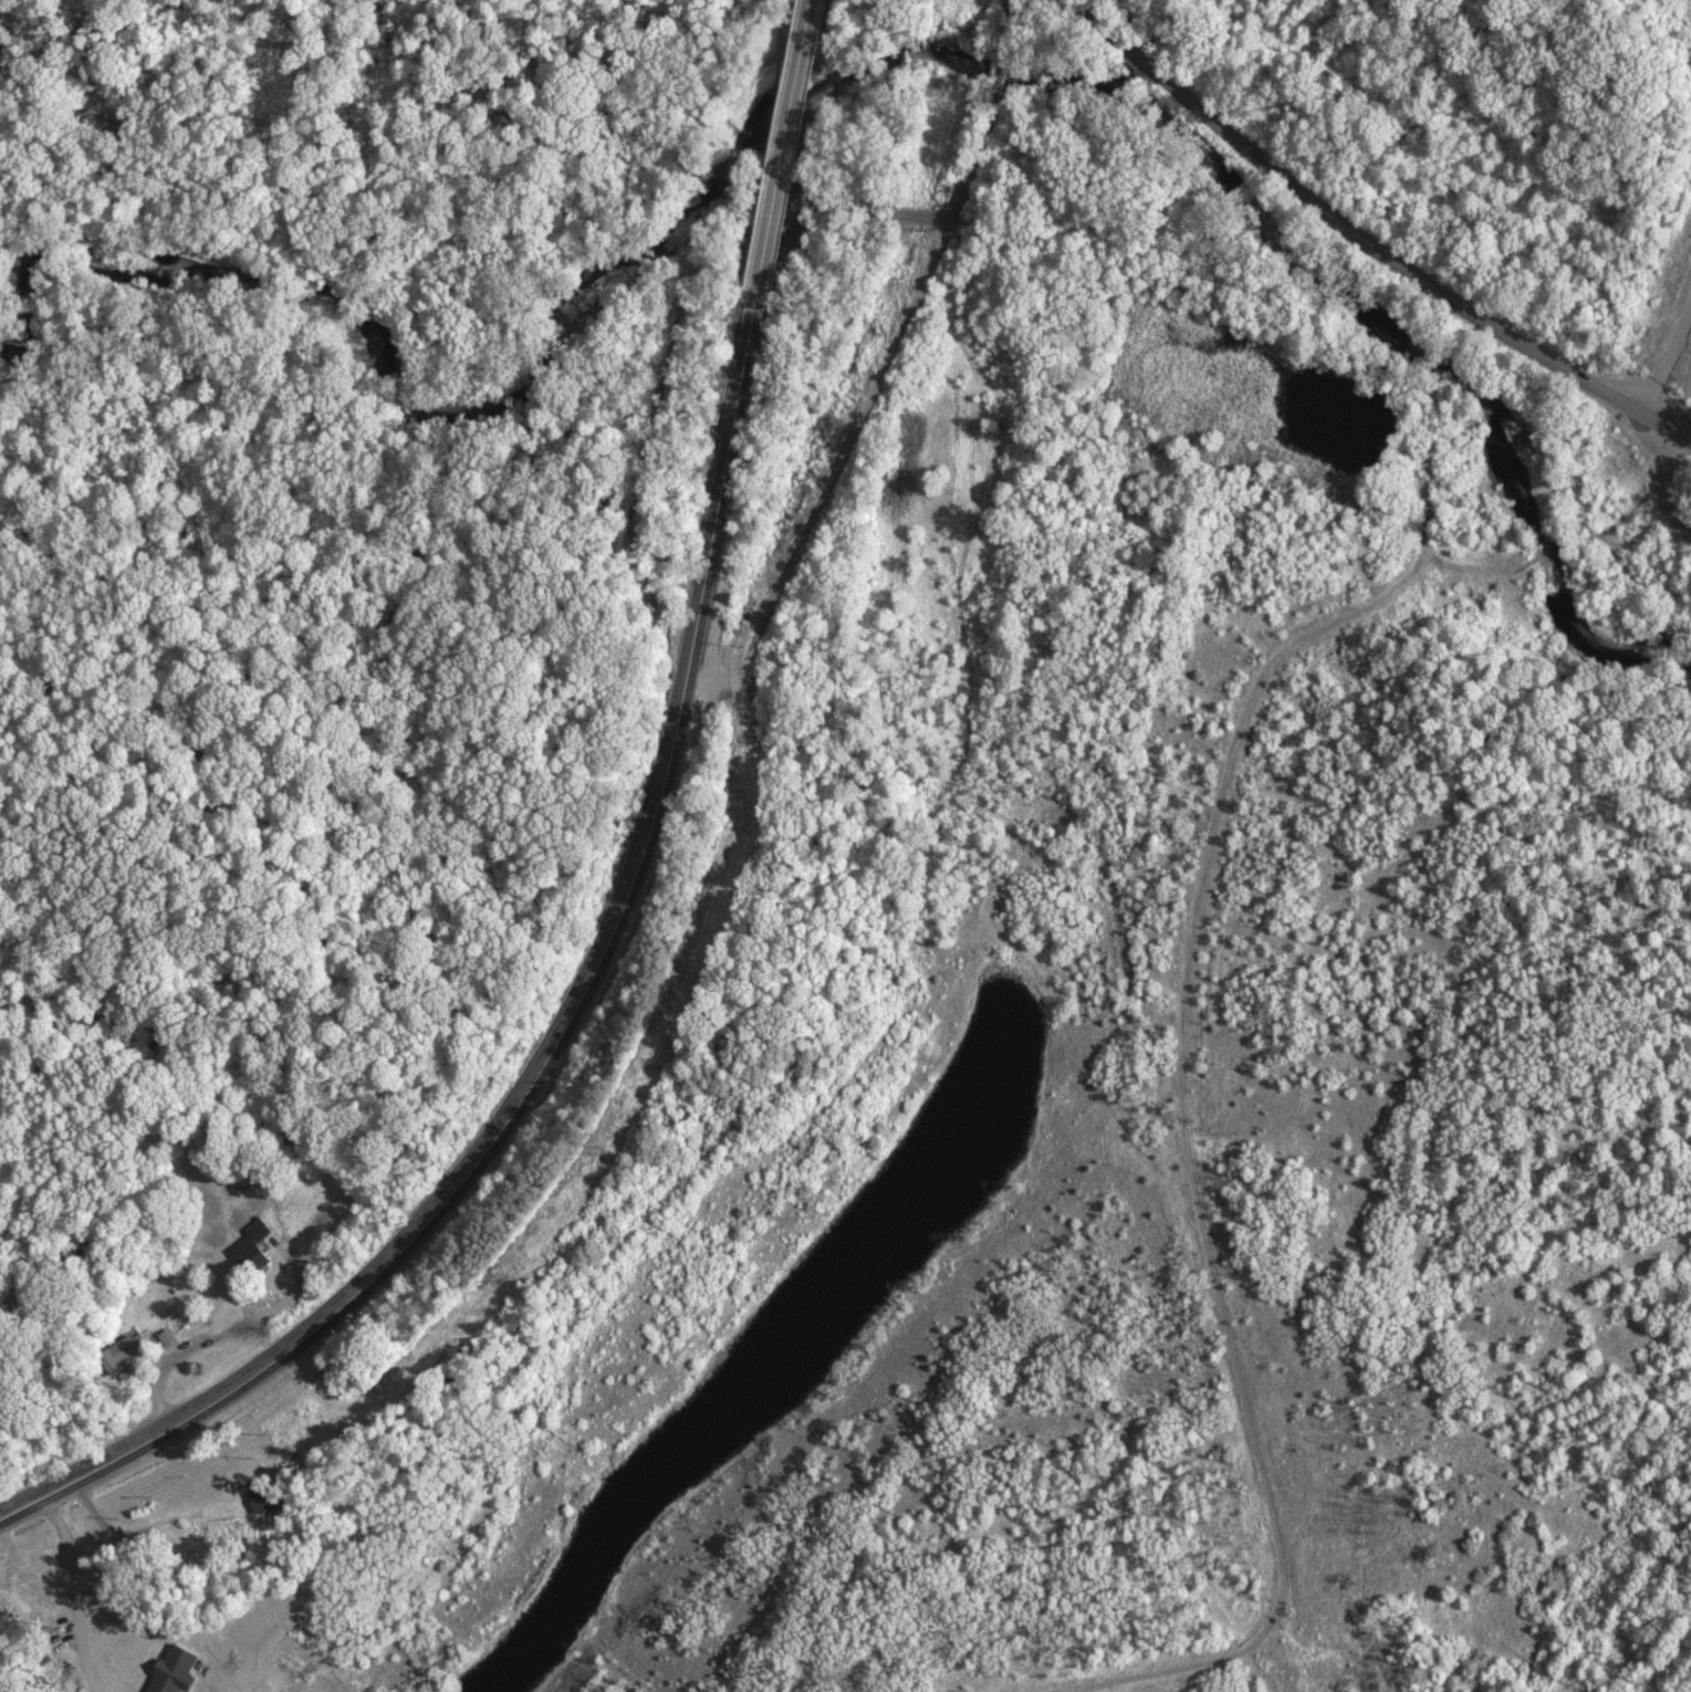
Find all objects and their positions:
road: (1353, 226)
road: (881, 380)
road: (1673, 426)
road: (1662, 474)
road: (625, 890)
building: (252, 1246)
road: (217, 1338)
building: (122, 1351)
road: (1283, 1567)
building: (174, 1671)

